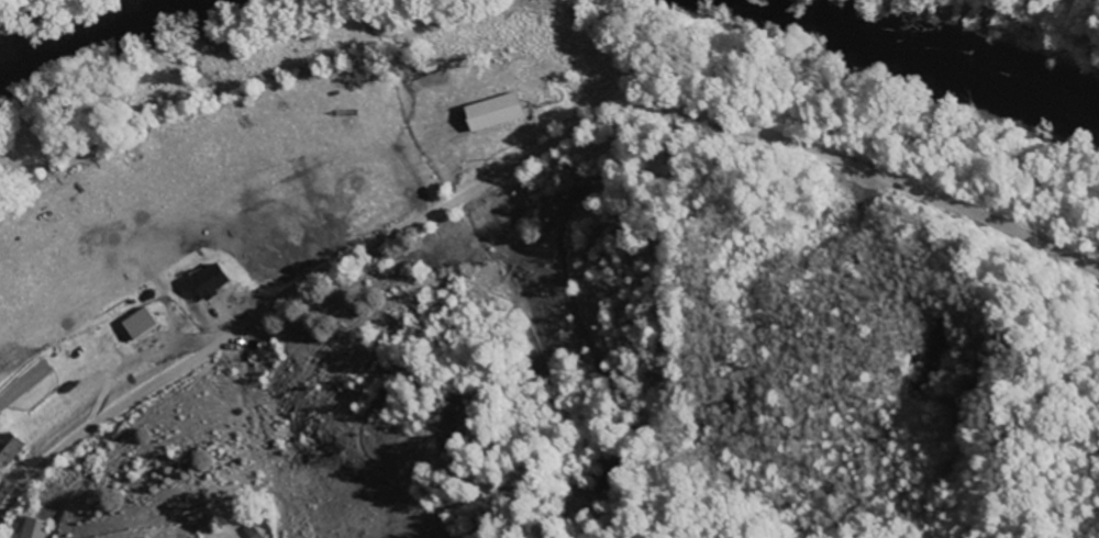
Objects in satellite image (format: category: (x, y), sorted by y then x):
river: (111, 35)
river: (944, 59)
building: (492, 114)
road: (517, 182)
building: (204, 283)
building: (133, 327)
building: (5, 451)
building: (34, 529)

